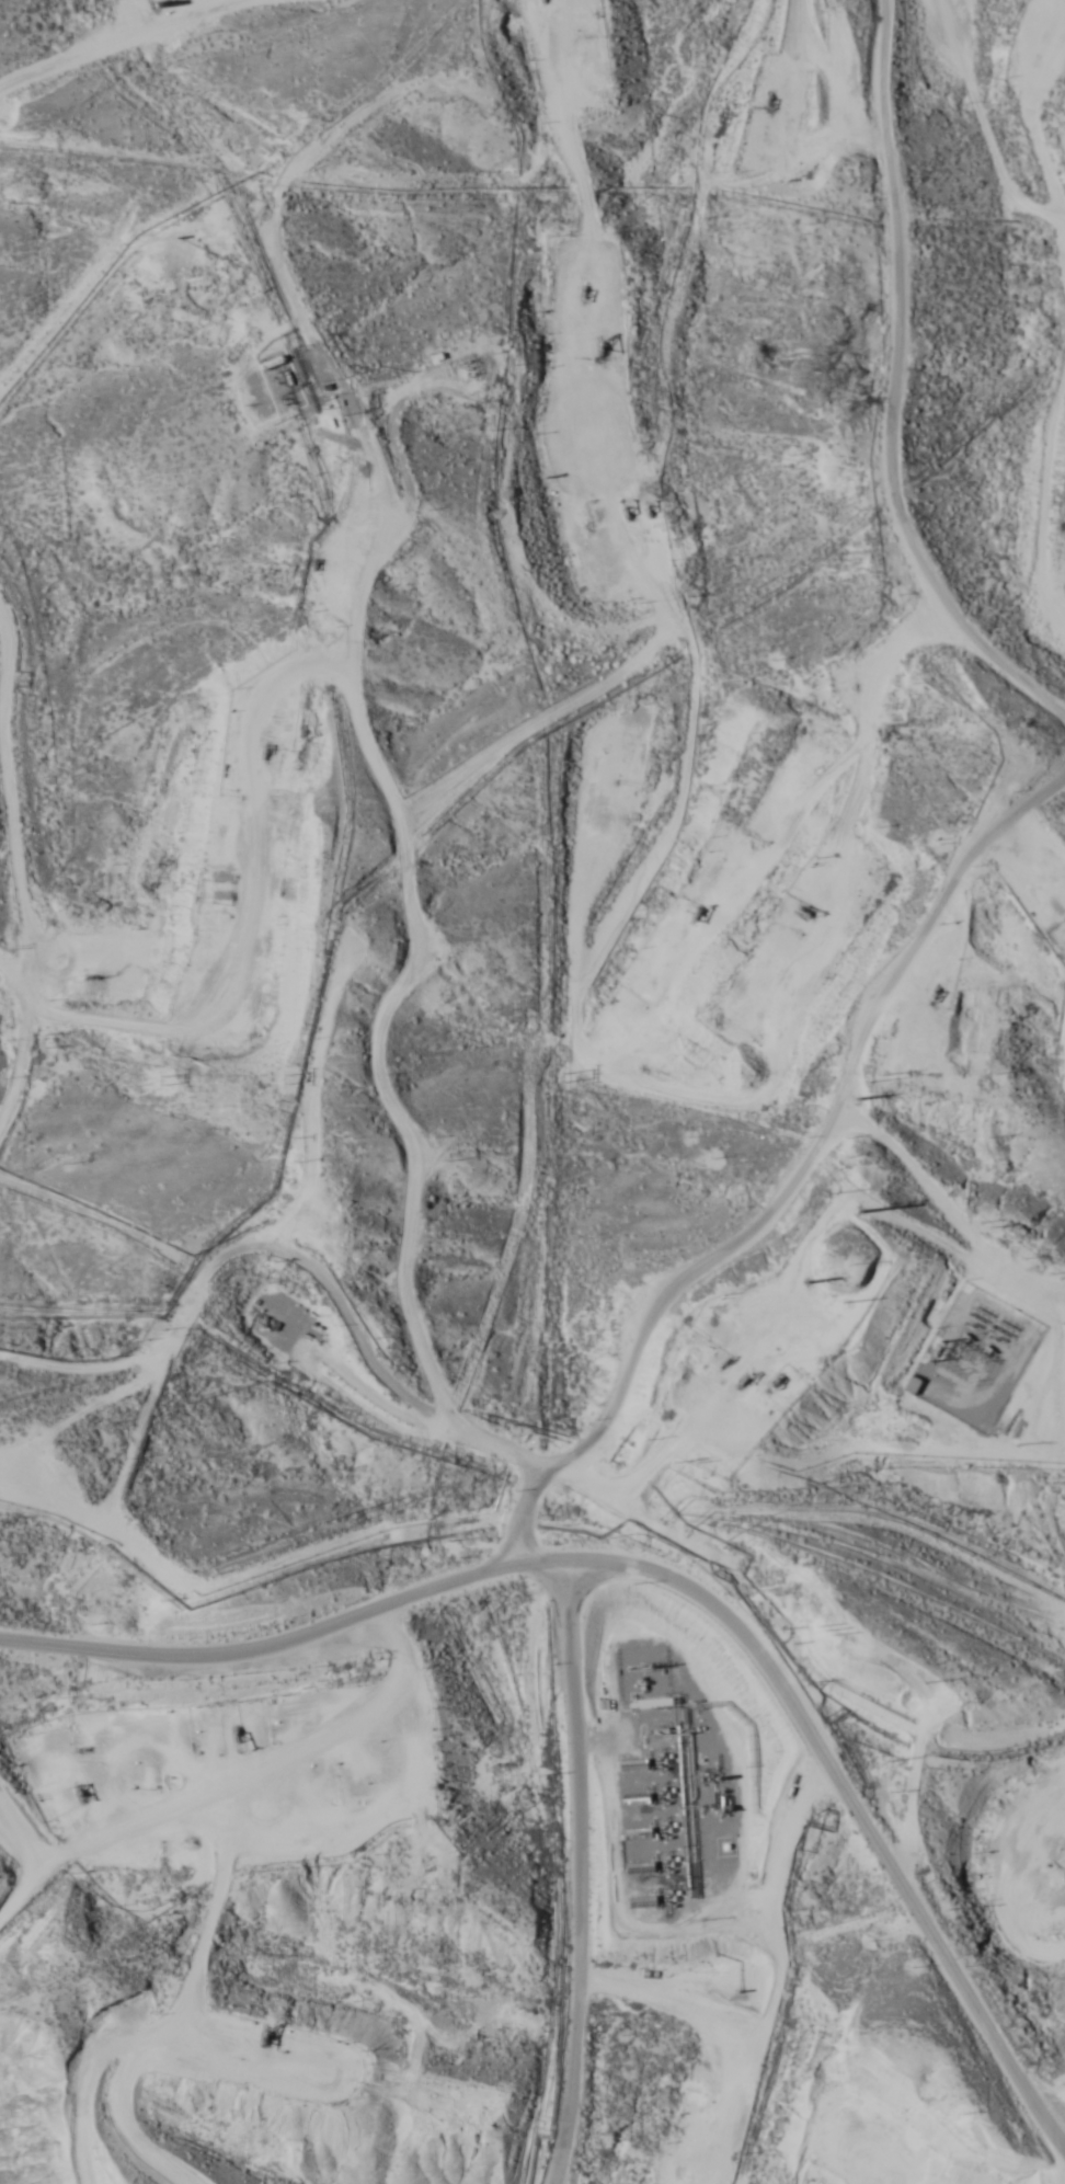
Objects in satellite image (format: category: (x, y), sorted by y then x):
road: (144, 95)
road: (895, 409)
building: (267, 410)
road: (368, 716)
road: (914, 931)
building: (909, 1385)
road: (622, 1470)
road: (674, 1579)
road: (1049, 1830)

